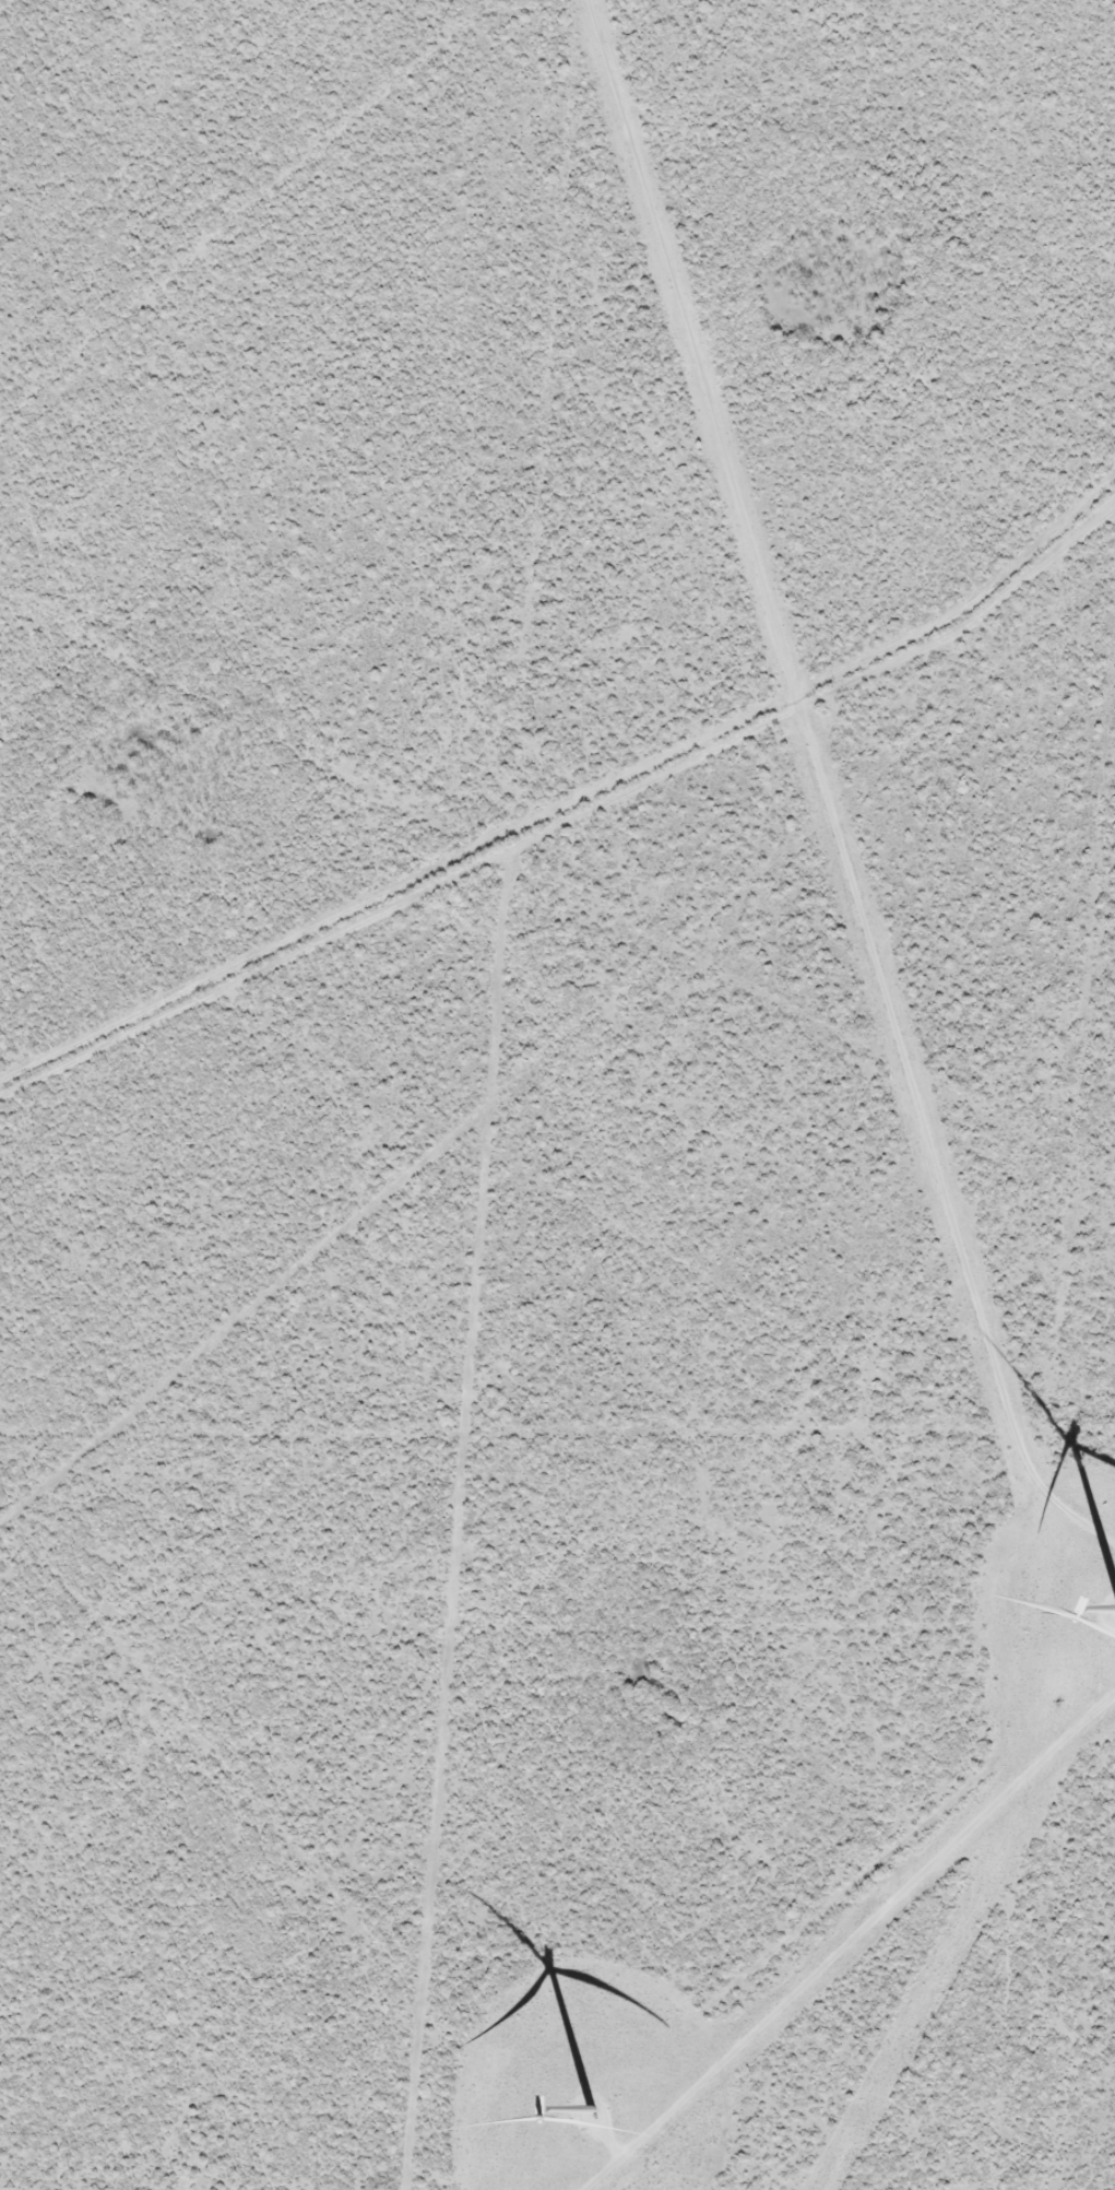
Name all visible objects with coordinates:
wind turbine: (584, 2121)

